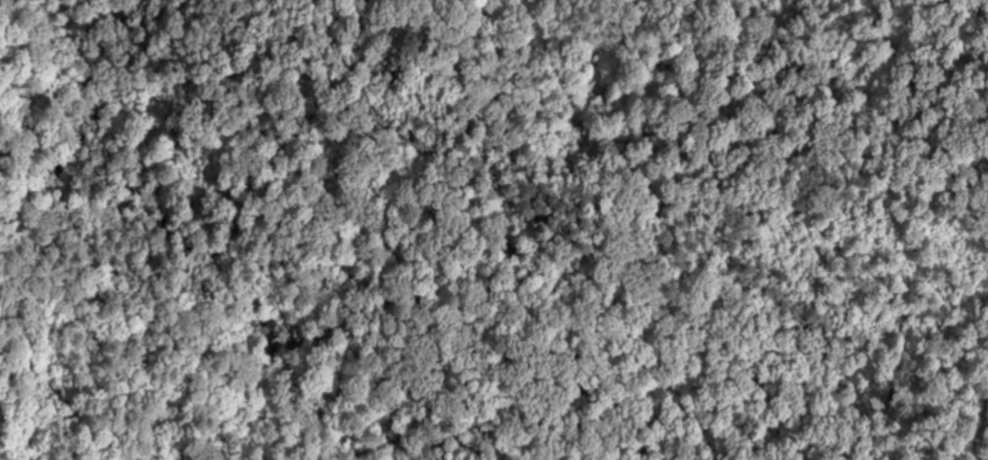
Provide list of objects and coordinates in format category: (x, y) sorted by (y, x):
road: (970, 360)

